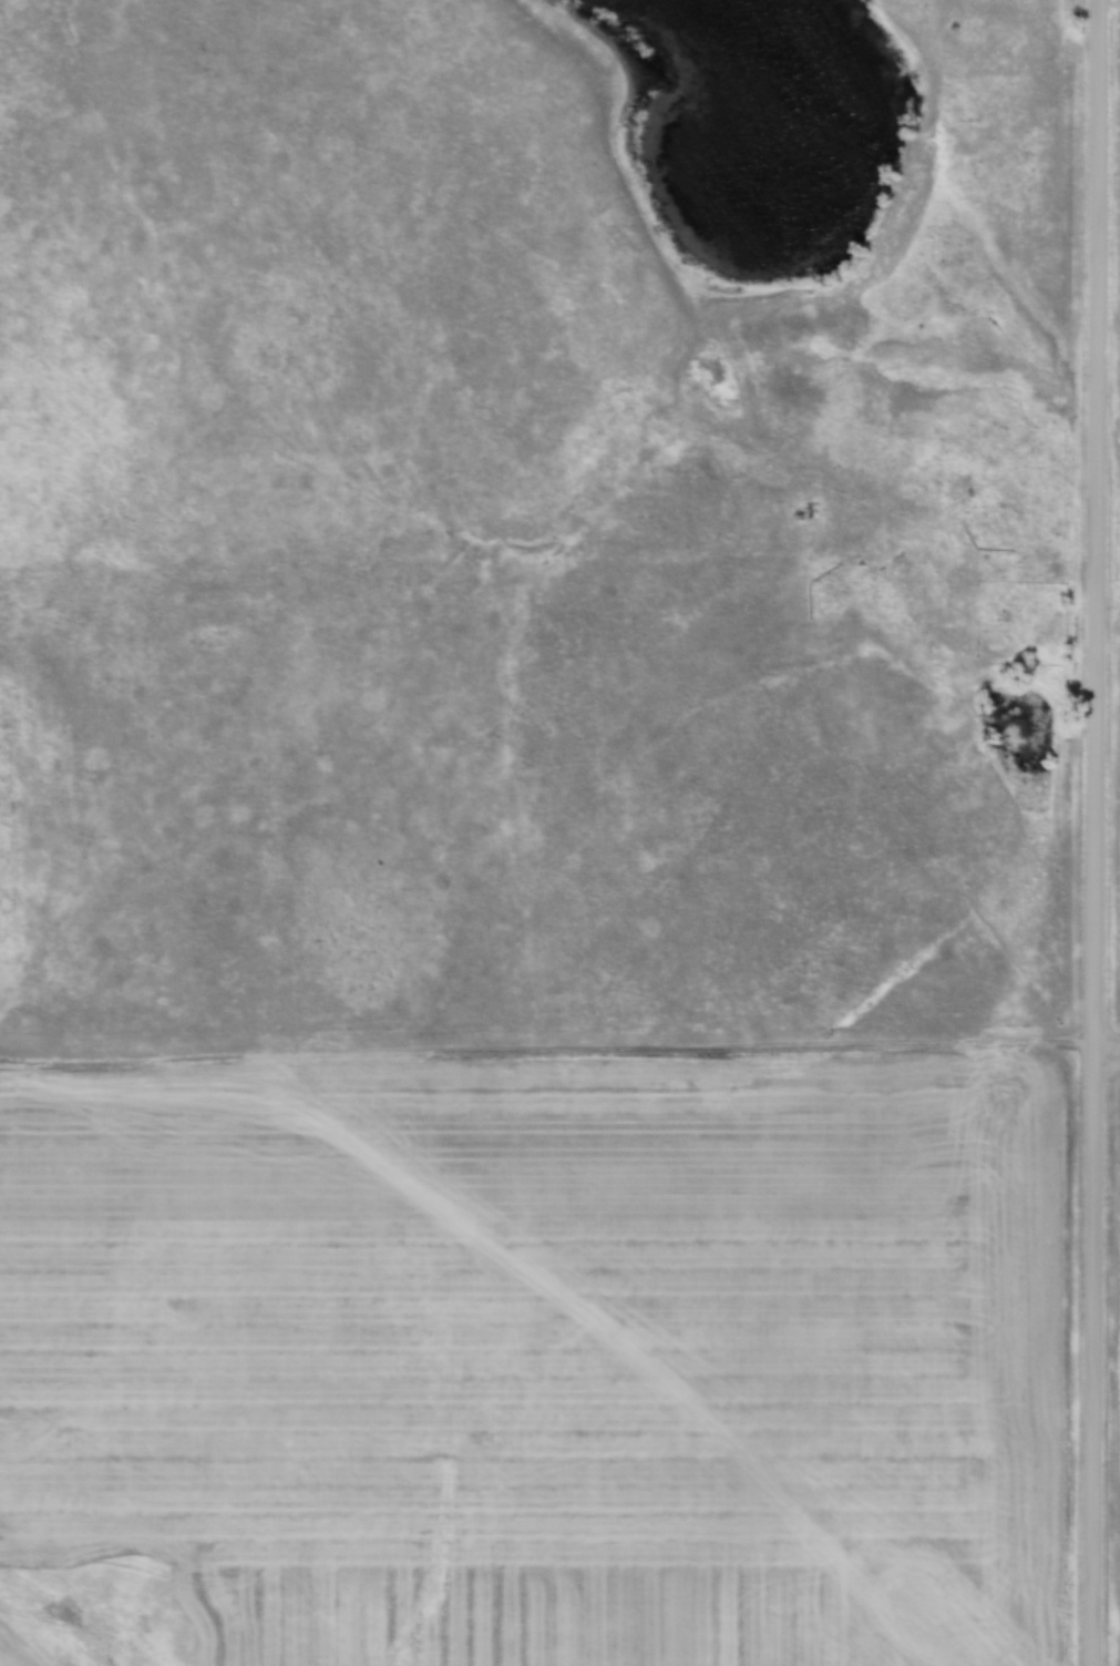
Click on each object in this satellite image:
road: (1095, 524)
road: (559, 1056)
road: (1090, 1358)

